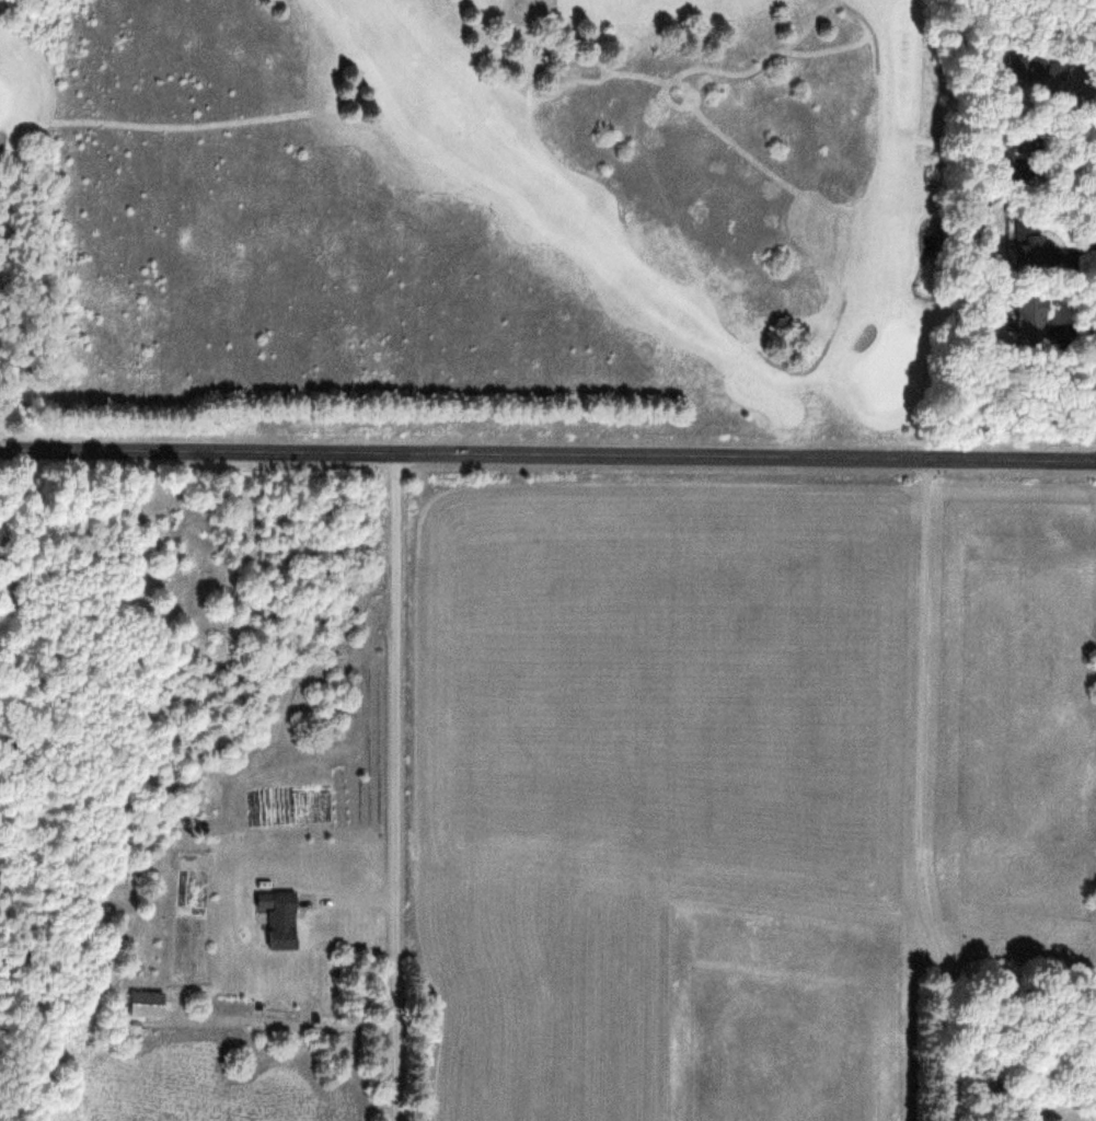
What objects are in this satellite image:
road: (872, 28)
park: (465, 217)
building: (1036, 244)
building: (1034, 317)
road: (811, 362)
road: (547, 454)
road: (392, 787)
road: (919, 790)
building: (284, 920)
building: (149, 1005)

